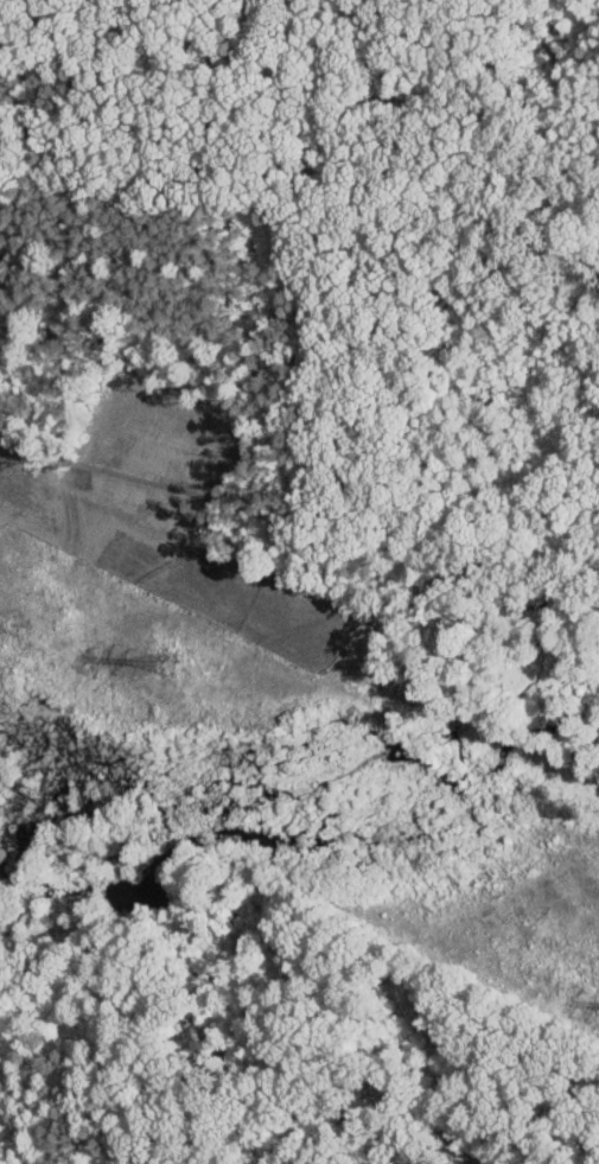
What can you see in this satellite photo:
power tower: (165, 667)

